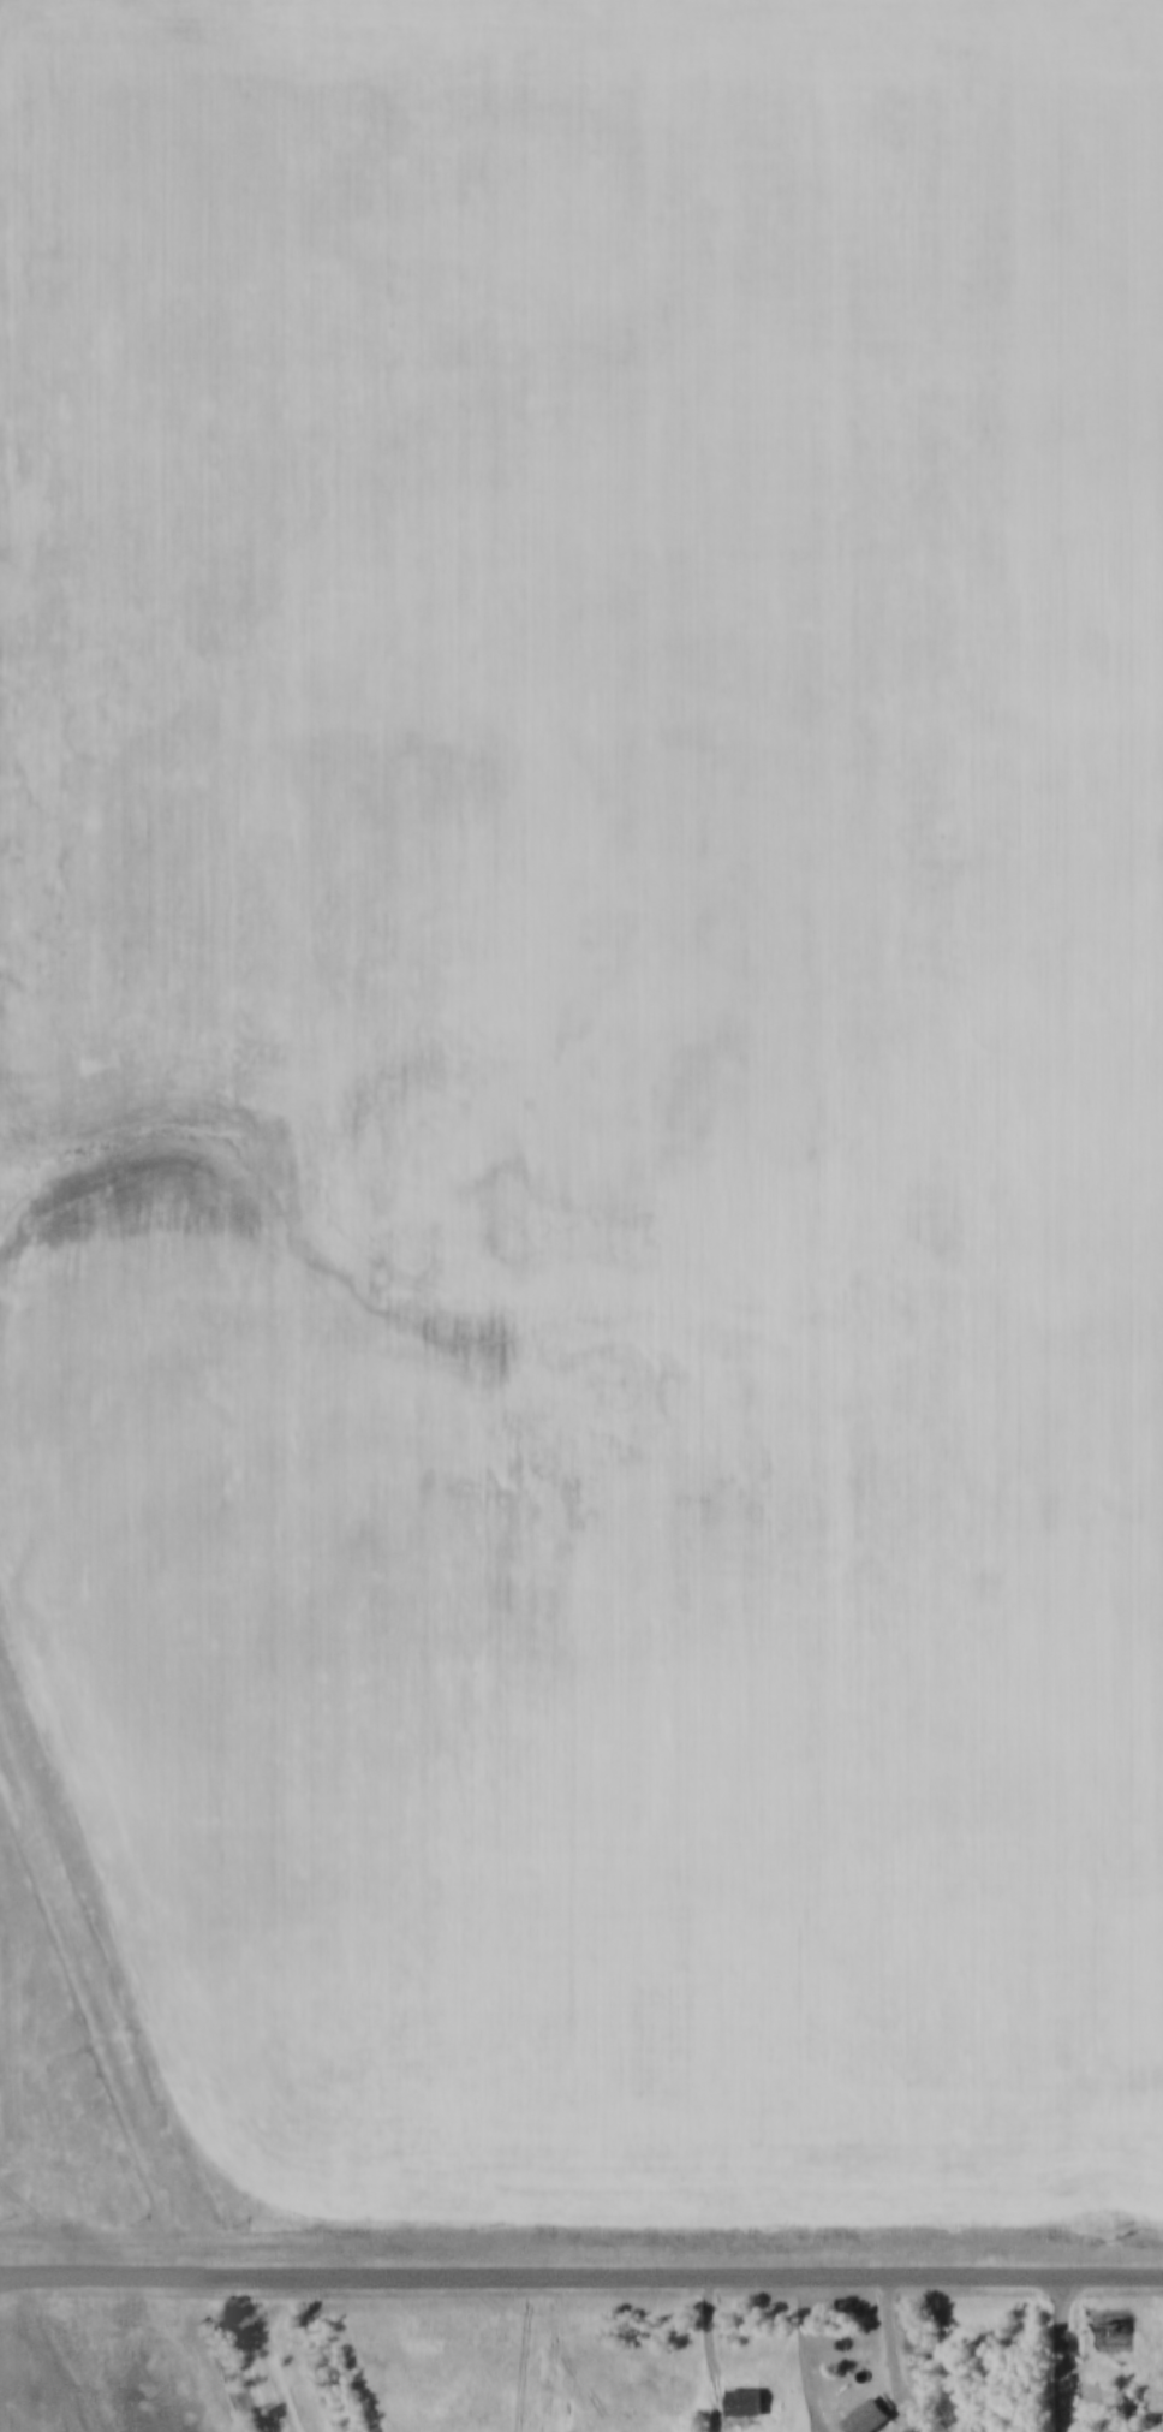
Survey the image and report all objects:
road: (581, 2275)
power substation: (1116, 2305)
road: (1069, 2353)
road: (561, 2354)
road: (723, 2354)
building: (747, 2383)
building: (867, 2398)
building: (742, 2402)
building: (865, 2418)
road: (922, 2421)

